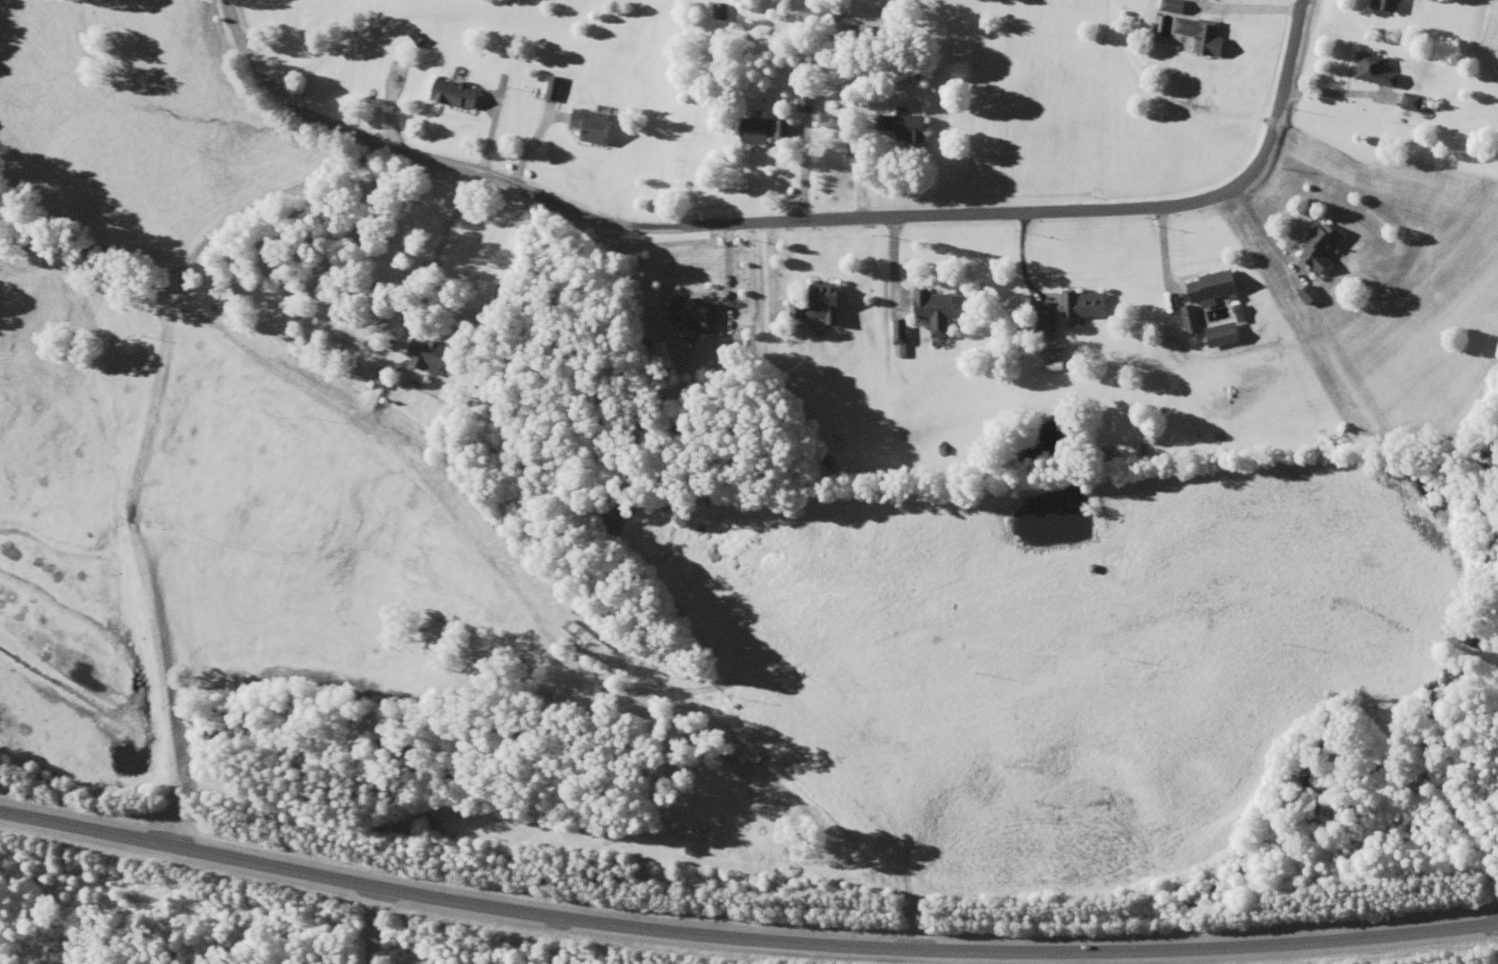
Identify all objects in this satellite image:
building: (1170, 5)
building: (1386, 5)
building: (719, 11)
building: (859, 34)
building: (1201, 36)
building: (1375, 70)
building: (454, 94)
building: (807, 102)
building: (1412, 102)
building: (591, 127)
building: (903, 127)
building: (767, 132)
road: (800, 217)
building: (1321, 248)
road: (427, 259)
building: (1213, 287)
building: (1310, 294)
building: (1084, 305)
building: (828, 308)
building: (799, 309)
building: (935, 310)
building: (695, 314)
building: (1048, 322)
building: (428, 357)
road: (857, 566)
road: (744, 938)

